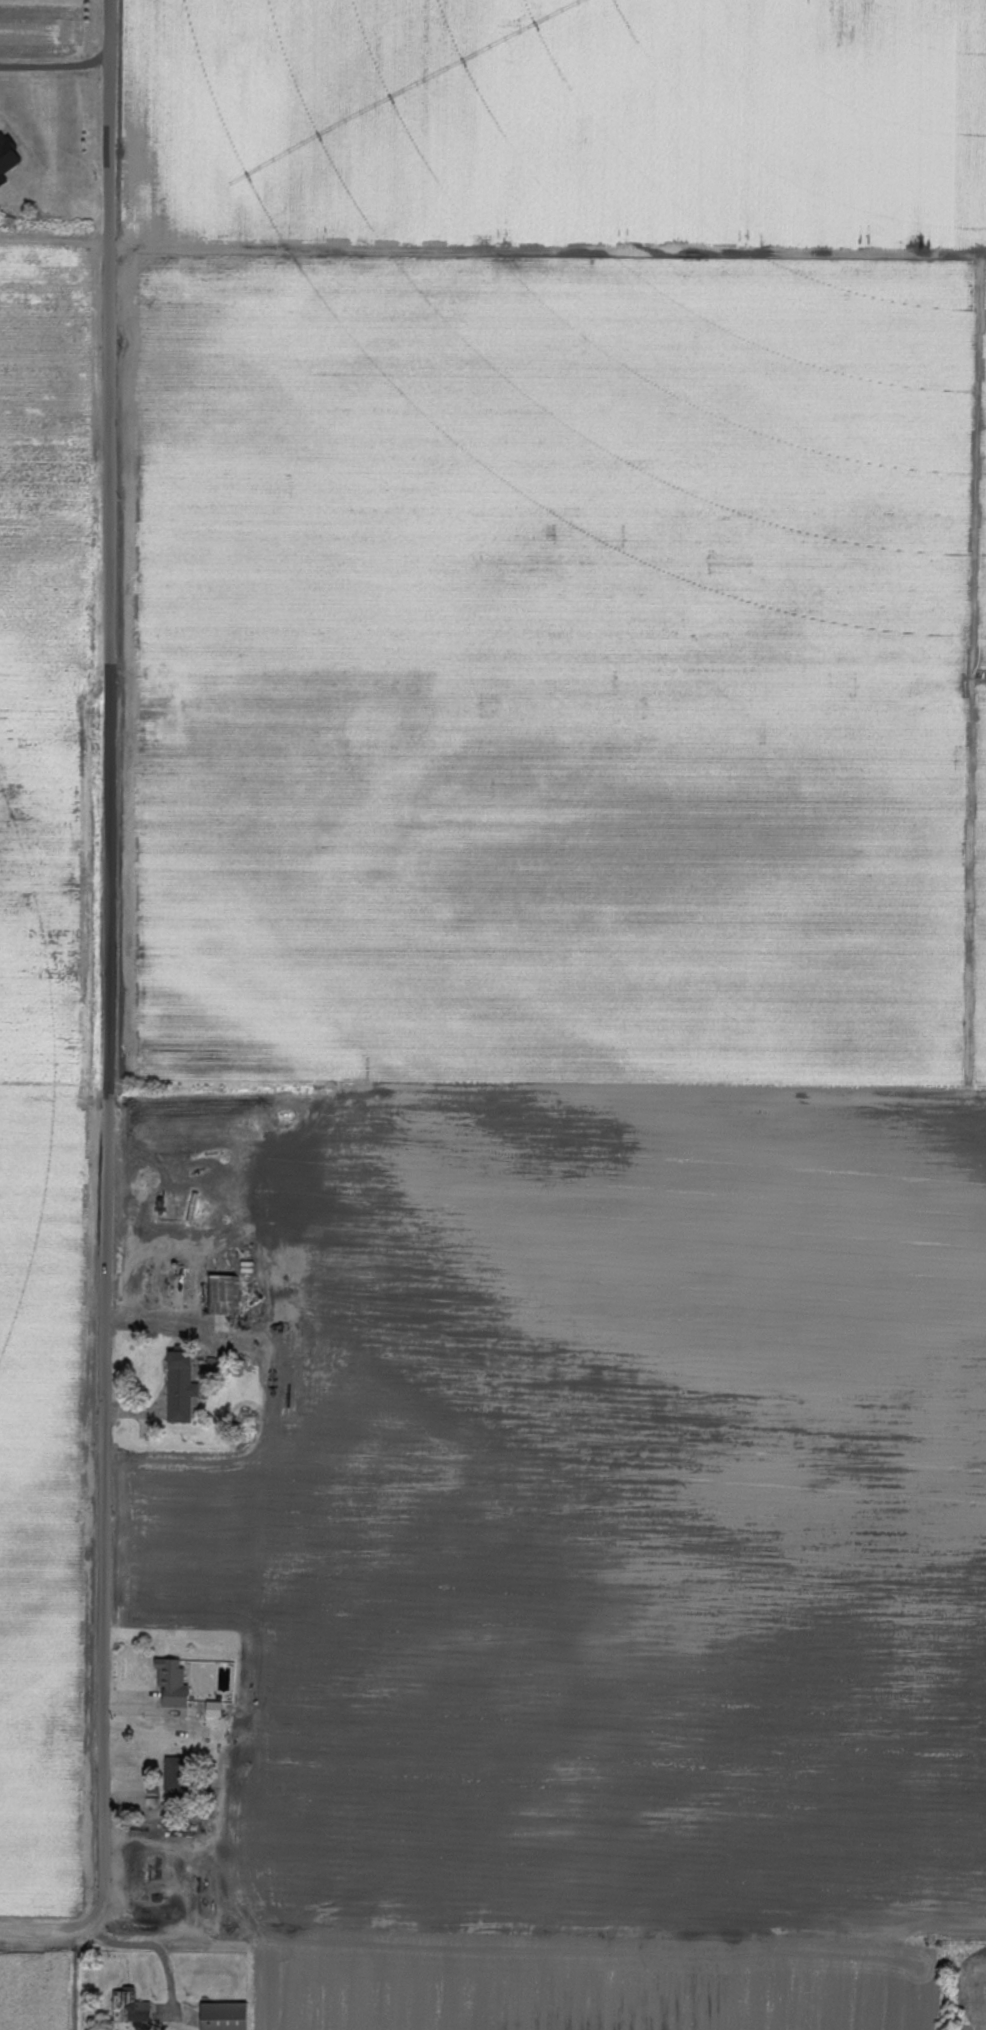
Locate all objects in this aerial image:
road: (56, 66)
road: (54, 240)
road: (110, 1011)
building: (222, 1295)
road: (166, 1319)
building: (180, 1388)
building: (171, 1678)
building: (214, 1709)
road: (159, 1949)
building: (129, 2006)
building: (223, 2016)

